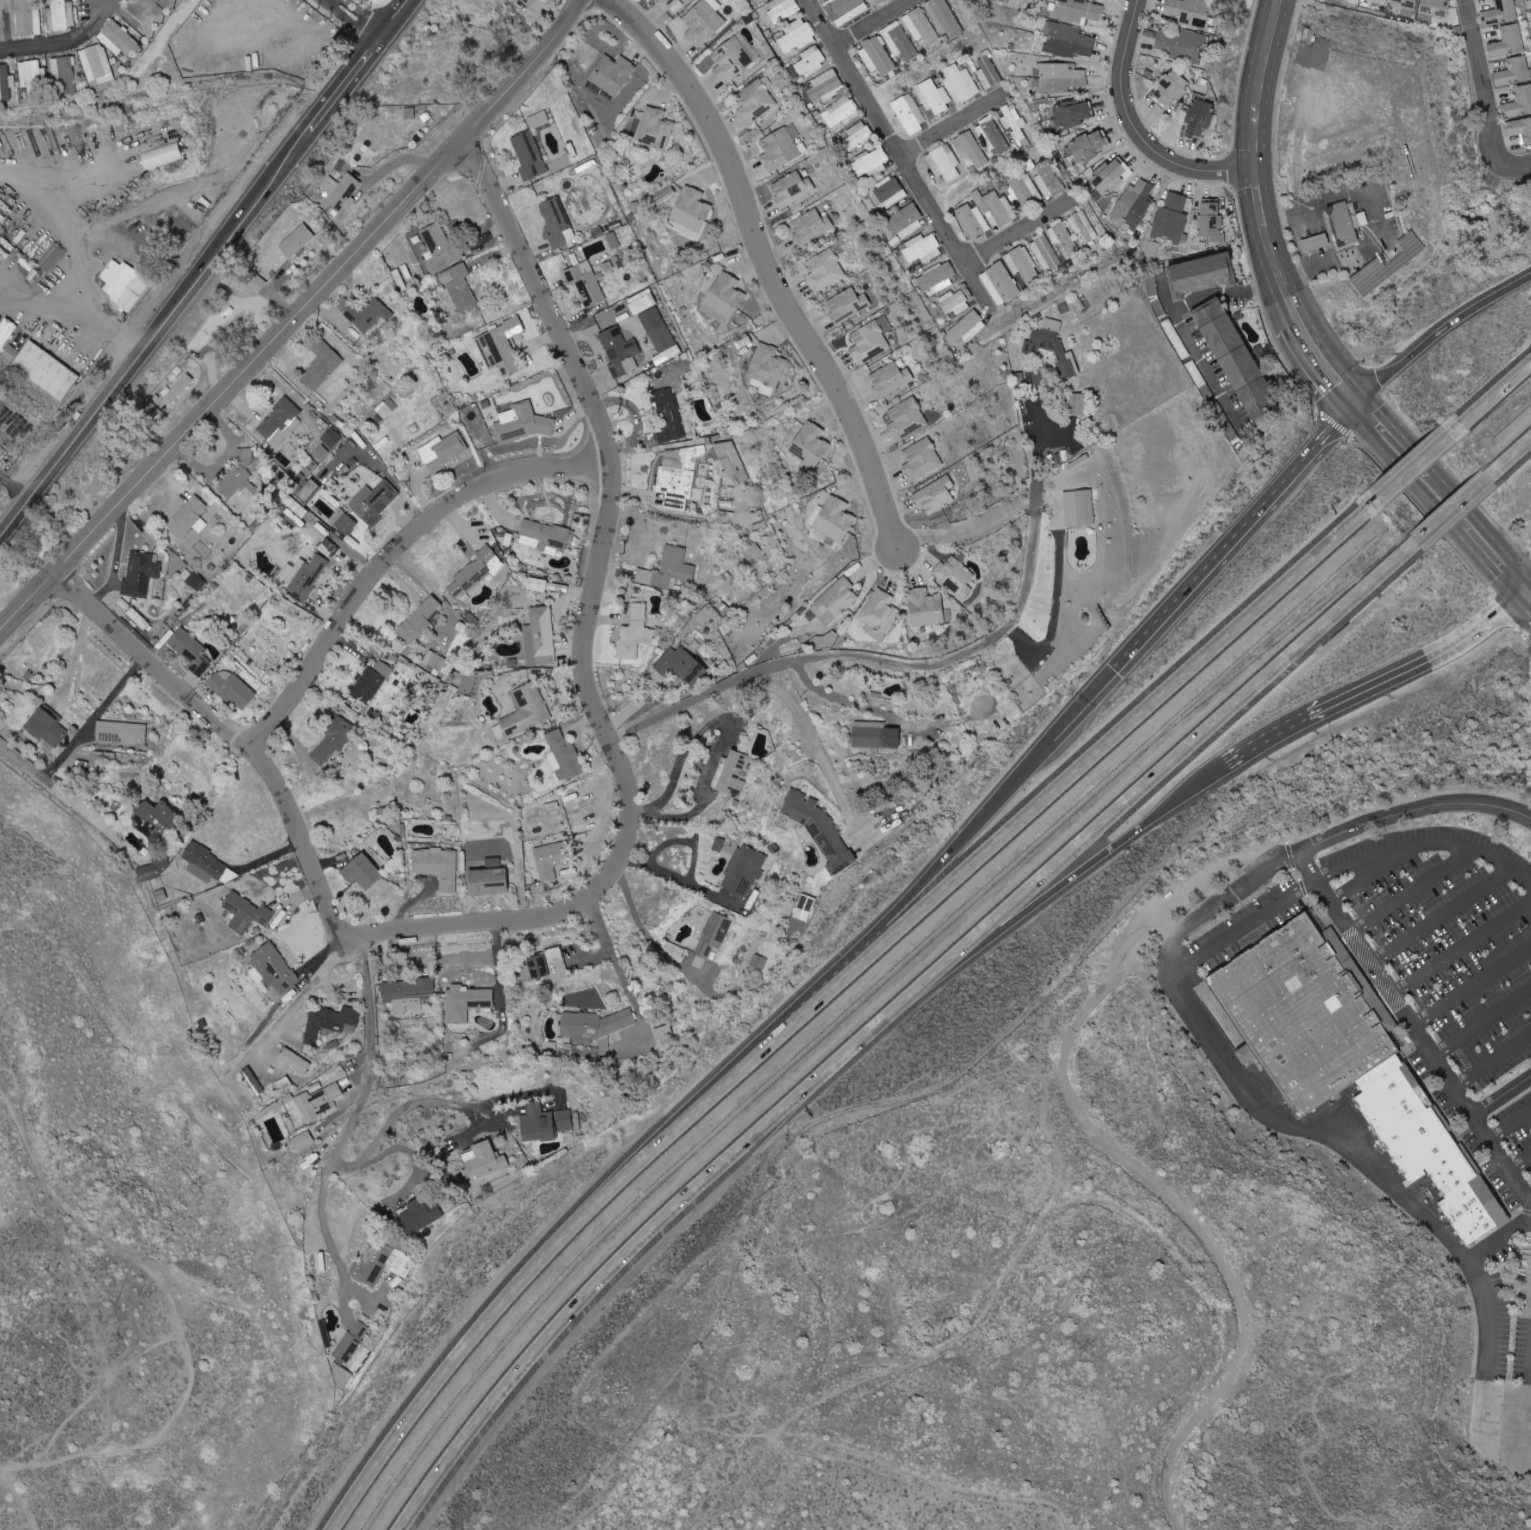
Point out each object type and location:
building: (754, 0)
building: (877, 1)
building: (1379, 1)
building: (527, 3)
building: (666, 4)
building: (1405, 4)
building: (1435, 7)
building: (783, 9)
building: (844, 9)
building: (1077, 10)
building: (1190, 12)
building: (1500, 13)
building: (62, 15)
building: (28, 17)
building: (943, 18)
road: (363, 19)
building: (703, 21)
road: (884, 26)
building: (920, 26)
building: (797, 36)
building: (119, 39)
building: (899, 41)
building: (1068, 41)
building: (1508, 41)
building: (1179, 43)
road: (68, 45)
building: (877, 57)
building: (731, 60)
building: (811, 61)
building: (97, 65)
building: (988, 70)
building: (1513, 72)
building: (65, 73)
building: (611, 74)
building: (1060, 77)
building: (32, 78)
building: (5, 82)
building: (961, 83)
road: (1263, 85)
building: (823, 87)
building: (1170, 89)
road: (1490, 96)
building: (756, 102)
building: (1518, 102)
building: (921, 106)
building: (840, 113)
building: (1070, 114)
building: (1198, 118)
building: (539, 120)
building: (1014, 124)
building: (655, 128)
building: (1519, 129)
road: (1138, 130)
road: (951, 132)
building: (857, 137)
building: (1089, 146)
building: (782, 148)
building: (971, 148)
building: (161, 155)
building: (529, 155)
road: (899, 156)
building: (872, 163)
building: (944, 163)
road: (392, 164)
road: (282, 175)
building: (1107, 177)
building: (1050, 179)
building: (792, 189)
building: (1023, 189)
road: (52, 190)
building: (341, 192)
building: (890, 192)
road: (1262, 202)
building: (1133, 206)
building: (691, 209)
building: (985, 213)
building: (832, 215)
building: (1172, 218)
building: (1210, 220)
building: (555, 222)
building: (904, 222)
building: (1344, 224)
building: (1083, 226)
building: (810, 227)
road: (1020, 238)
building: (1064, 238)
building: (612, 240)
building: (296, 241)
building: (1315, 243)
building: (440, 247)
building: (922, 249)
building: (1045, 252)
road: (1342, 257)
road: (775, 262)
building: (1022, 264)
building: (824, 271)
building: (1202, 274)
road: (1282, 277)
building: (936, 278)
building: (585, 283)
building: (1000, 283)
building: (123, 284)
building: (257, 284)
building: (459, 287)
building: (723, 298)
building: (642, 302)
building: (954, 302)
road: (42, 303)
building: (847, 305)
road: (86, 308)
building: (367, 315)
road: (294, 319)
building: (967, 328)
building: (657, 330)
road: (1438, 330)
building: (4, 334)
building: (870, 340)
building: (10, 348)
building: (620, 351)
road: (1326, 359)
building: (1236, 361)
building: (321, 366)
building: (767, 367)
building: (45, 370)
road: (1208, 370)
building: (890, 378)
building: (178, 389)
traffic signals: (1354, 394)
road: (1492, 402)
building: (670, 414)
building: (906, 418)
building: (280, 422)
building: (520, 424)
building: (331, 438)
road: (73, 443)
building: (809, 445)
building: (321, 452)
building: (442, 452)
building: (244, 454)
road: (1410, 457)
building: (921, 459)
road: (1511, 459)
building: (732, 460)
road: (386, 468)
road: (1416, 469)
building: (237, 483)
building: (934, 495)
building: (373, 502)
building: (1085, 508)
road: (696, 514)
road: (1451, 514)
building: (187, 519)
building: (834, 519)
building: (343, 522)
road: (968, 531)
road: (1234, 531)
road: (608, 532)
building: (545, 537)
building: (329, 548)
road: (1495, 553)
road: (394, 558)
road: (115, 566)
building: (668, 570)
building: (474, 572)
building: (955, 575)
building: (141, 576)
building: (303, 577)
building: (196, 581)
road: (1528, 584)
building: (537, 585)
traffic signals: (1525, 587)
road: (1528, 590)
building: (834, 601)
building: (925, 608)
building: (879, 614)
building: (419, 621)
building: (634, 633)
building: (540, 637)
building: (826, 640)
building: (190, 651)
building: (439, 663)
road: (920, 664)
building: (681, 665)
building: (370, 683)
road: (1367, 686)
building: (230, 687)
road: (63, 689)
road: (1083, 703)
building: (526, 711)
road: (883, 716)
road: (91, 719)
building: (46, 728)
building: (122, 732)
building: (875, 736)
road: (723, 742)
building: (331, 745)
building: (564, 756)
road: (25, 759)
road: (827, 762)
road: (1165, 768)
building: (733, 775)
road: (1070, 775)
road: (1414, 810)
road: (287, 819)
building: (154, 822)
building: (820, 830)
road: (687, 839)
road: (1424, 841)
building: (551, 859)
road: (946, 859)
building: (205, 864)
building: (156, 866)
building: (437, 866)
building: (744, 871)
road: (1375, 871)
building: (361, 872)
building: (488, 879)
road: (685, 881)
road: (1064, 886)
road: (1412, 887)
building: (159, 895)
road: (409, 903)
building: (804, 908)
building: (246, 913)
road: (1439, 913)
road: (1244, 928)
parking lot: (1448, 933)
road: (651, 936)
building: (713, 936)
road: (1460, 944)
road: (594, 957)
building: (758, 962)
building: (548, 965)
building: (274, 969)
road: (626, 981)
road: (1471, 984)
road: (343, 991)
road: (304, 994)
building: (407, 994)
road: (370, 1001)
building: (467, 1002)
building: (1305, 1014)
road: (1481, 1021)
building: (331, 1022)
building: (594, 1028)
road: (1413, 1028)
road: (1492, 1060)
building: (253, 1081)
road: (1501, 1097)
road: (462, 1099)
building: (319, 1102)
road: (1272, 1118)
building: (544, 1124)
road: (1510, 1127)
road: (483, 1128)
parking lot: (1516, 1129)
building: (301, 1141)
building: (1429, 1146)
road: (377, 1155)
building: (483, 1162)
road: (1126, 1163)
road: (1519, 1163)
road: (324, 1199)
building: (418, 1213)
road: (632, 1235)
road: (1498, 1239)
building: (380, 1264)
road: (531, 1277)
building: (347, 1347)
building: (341, 1376)
road: (1526, 1422)
road: (1485, 1423)

